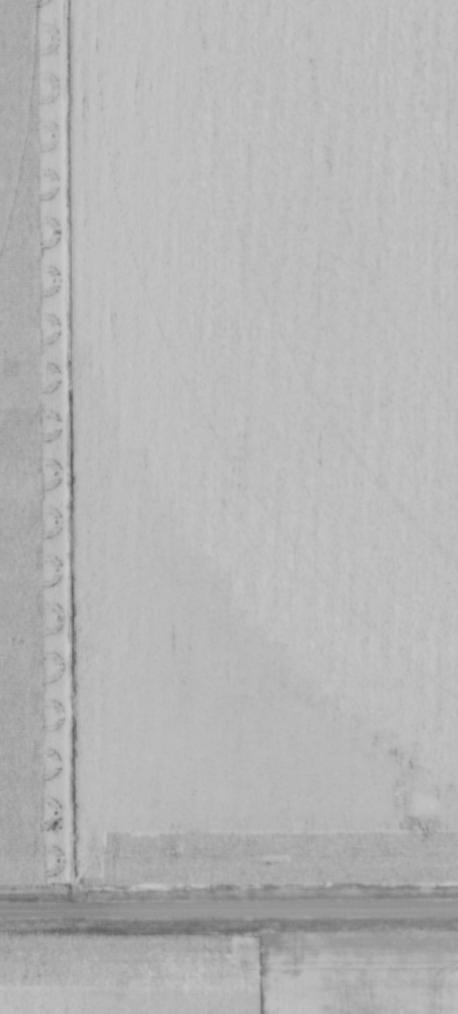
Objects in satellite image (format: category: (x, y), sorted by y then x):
road: (229, 908)

